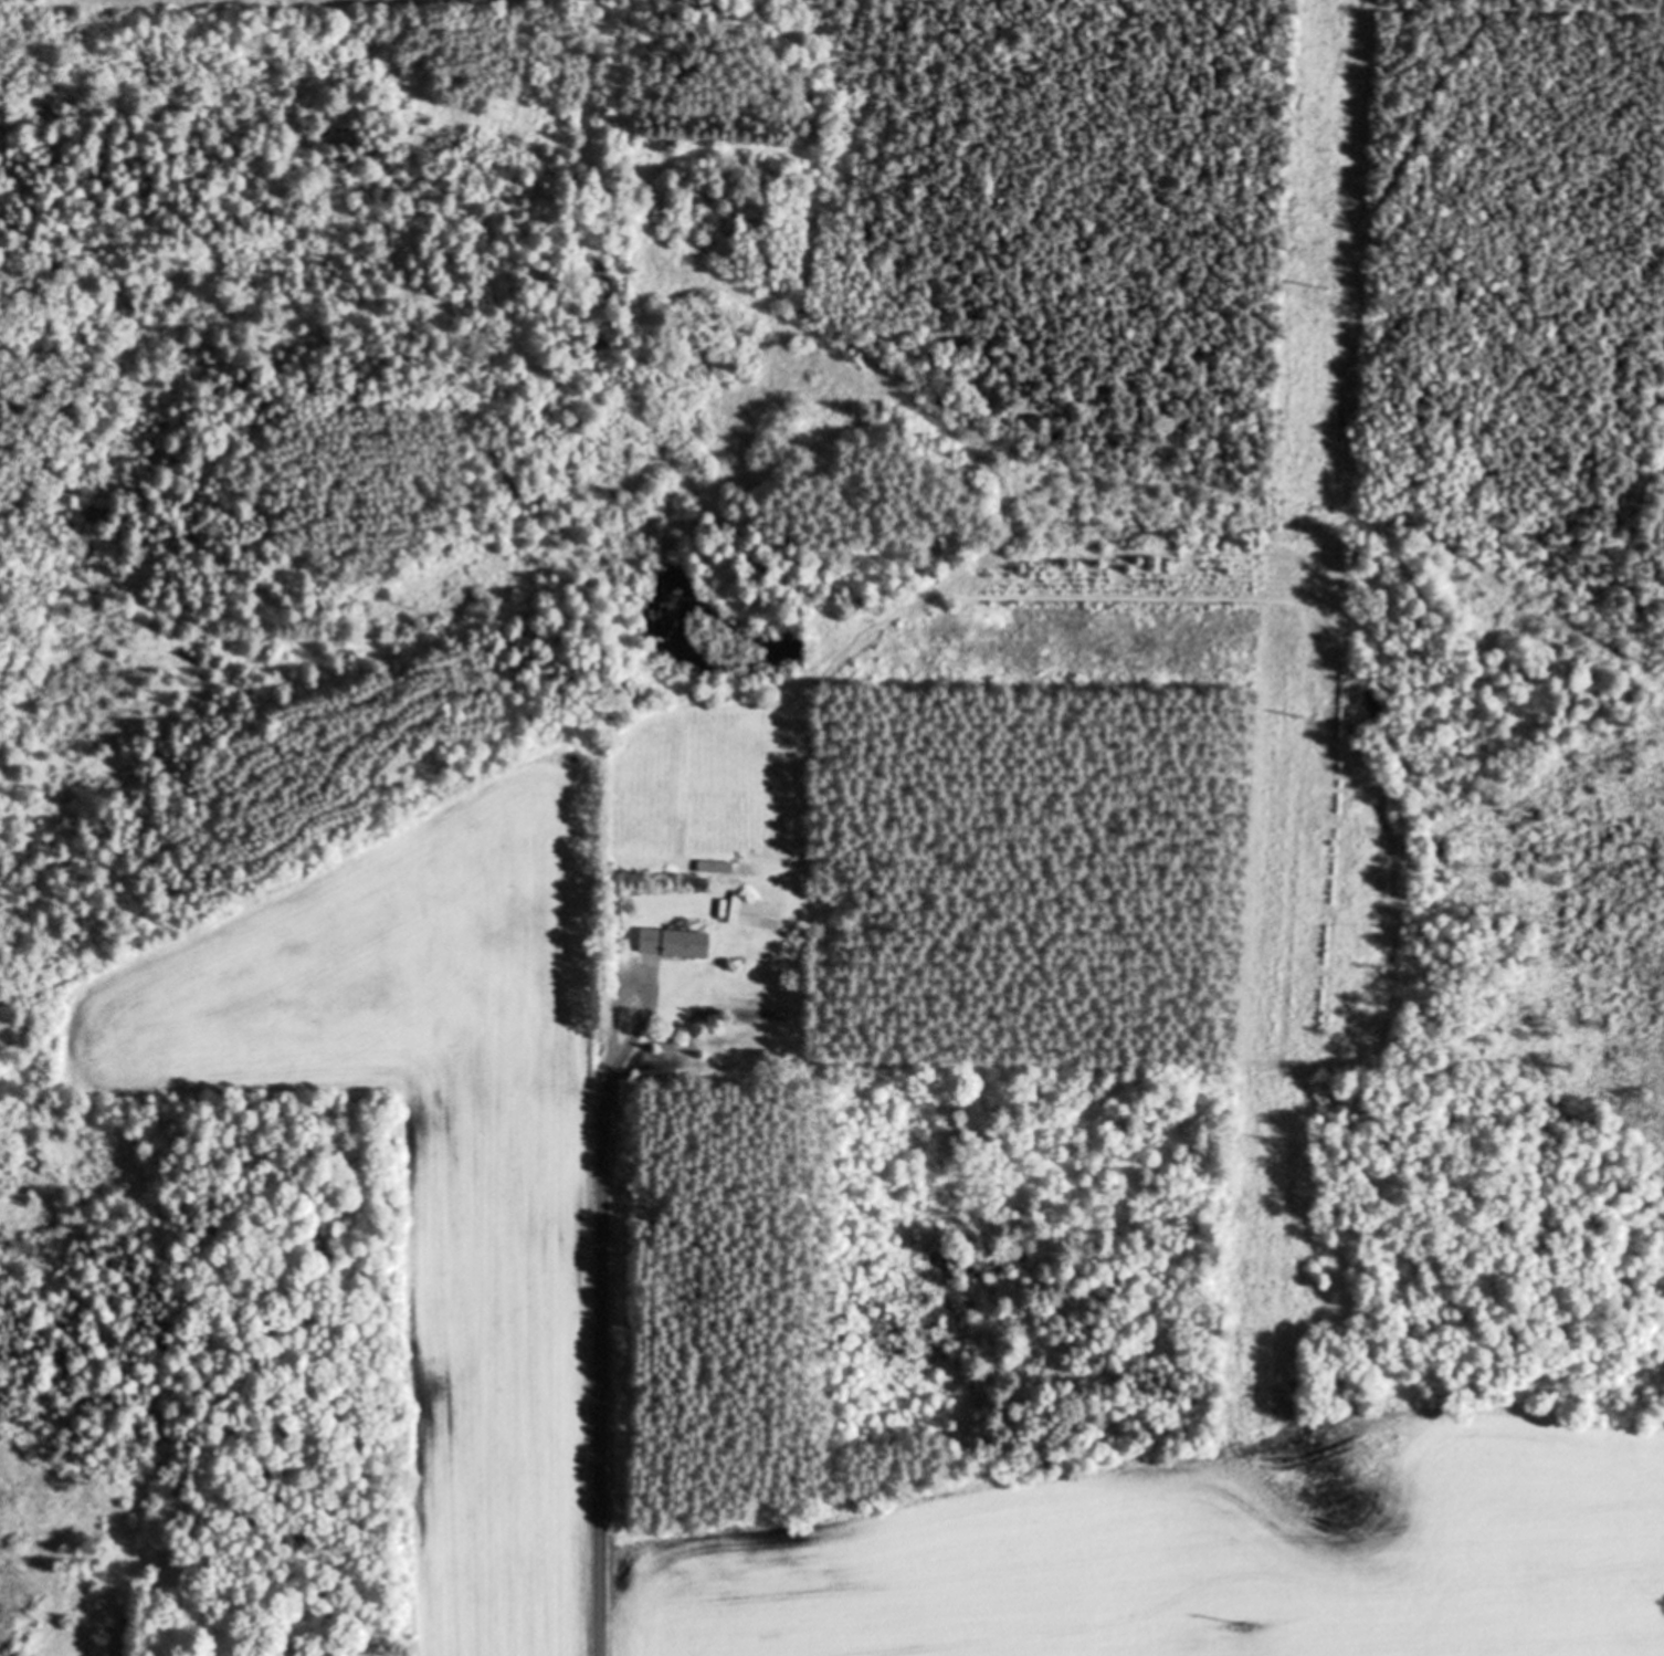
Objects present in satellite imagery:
power tower: (1321, 289)
power tower: (1299, 715)
building: (758, 914)
building: (678, 943)
power tower: (1274, 1141)
road: (600, 1356)
power tower: (1246, 1625)

